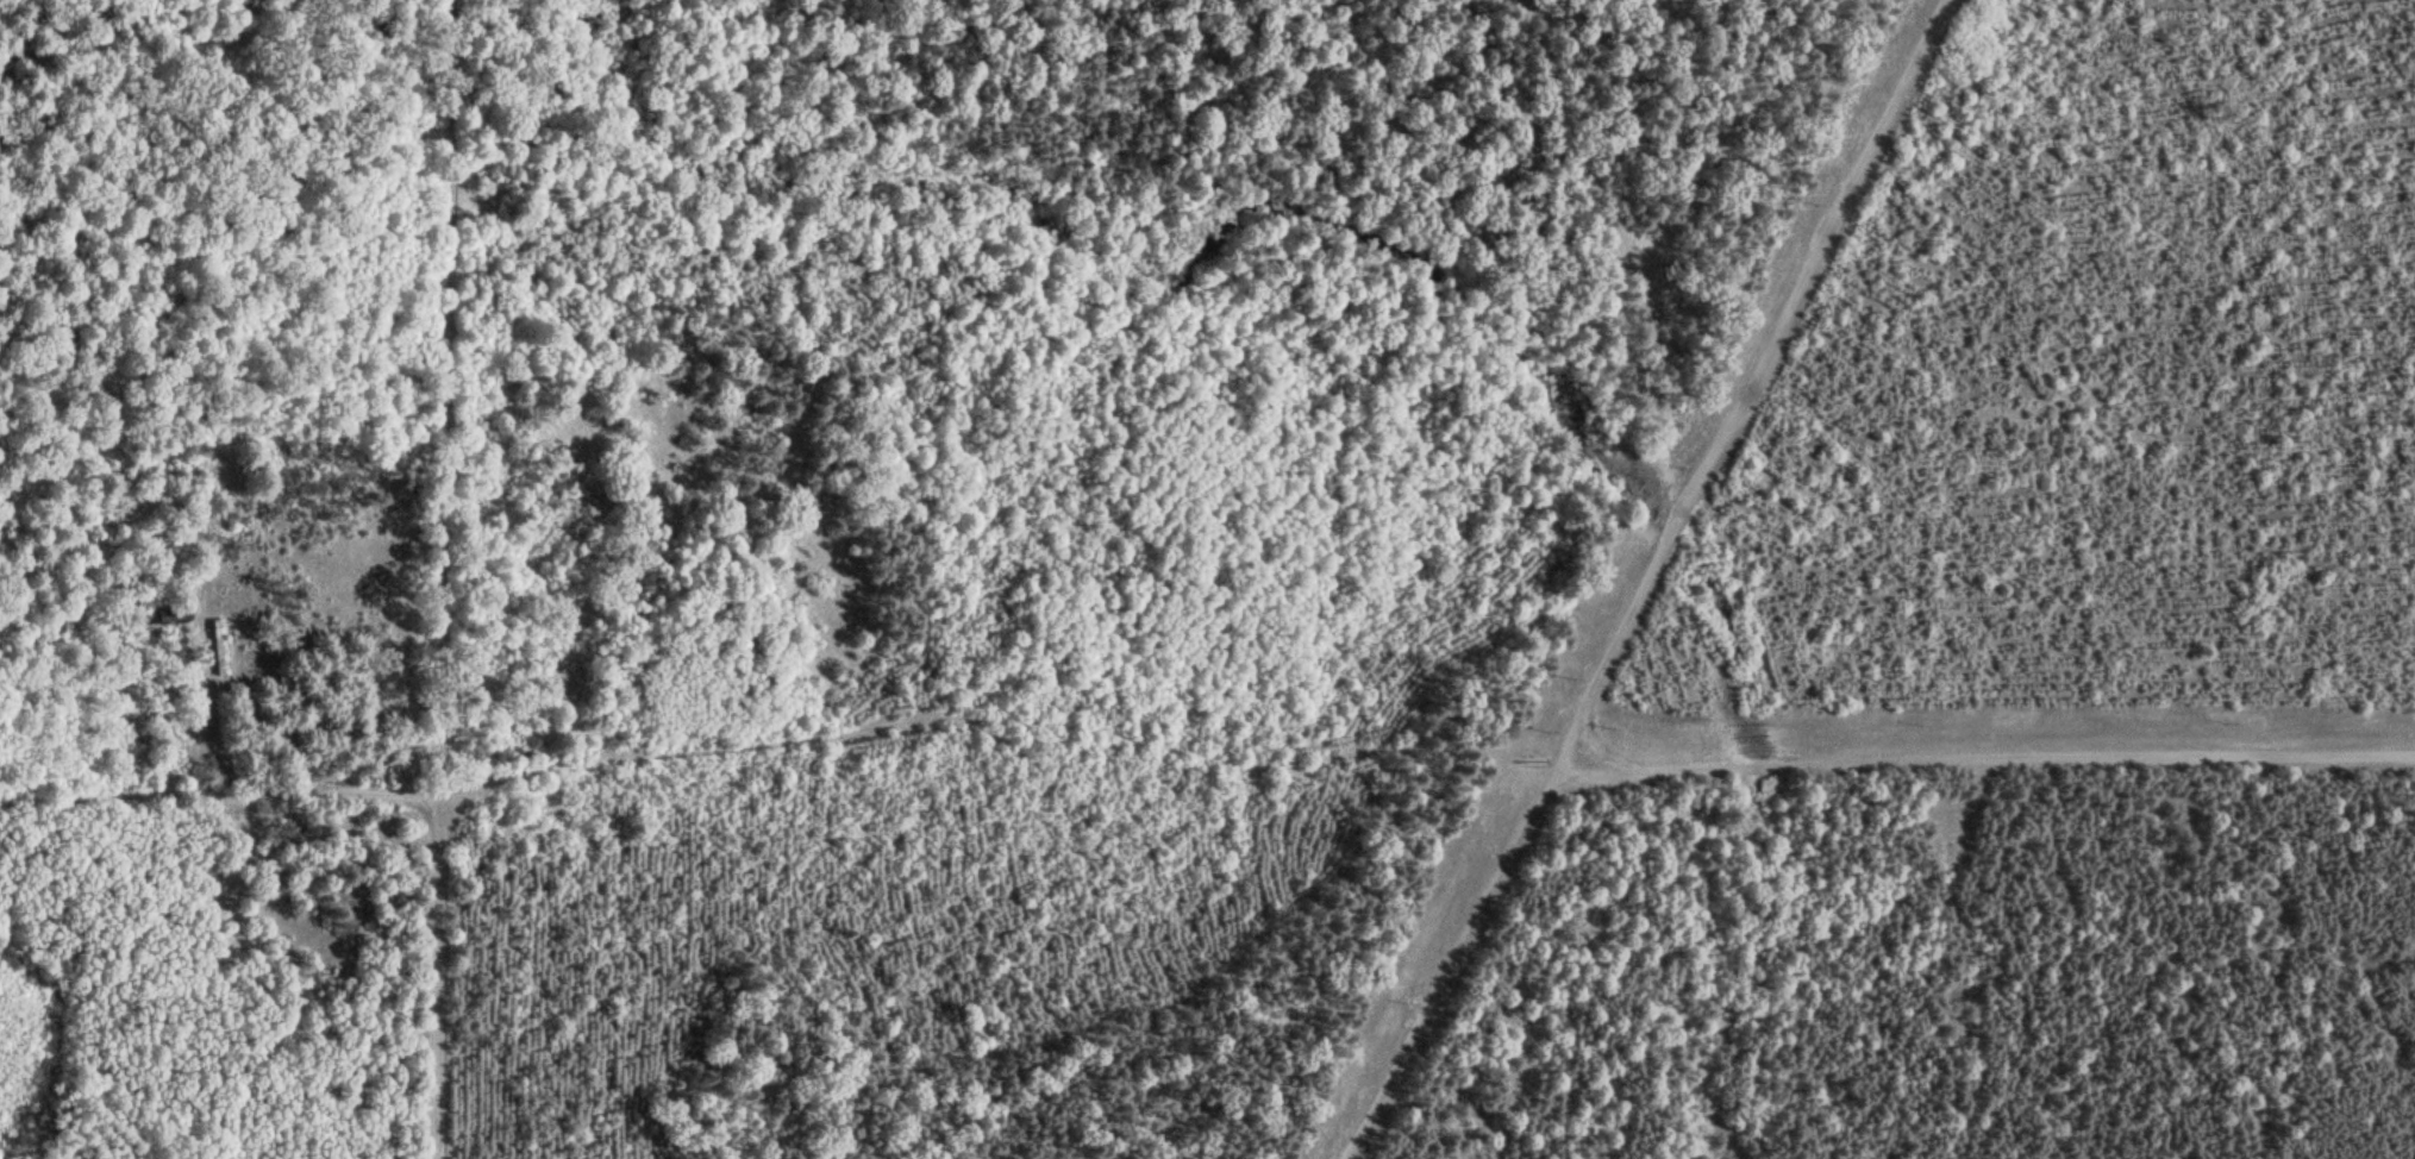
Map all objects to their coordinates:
road: (446, 82)
road: (231, 84)
road: (1703, 328)
road: (1650, 576)
building: (217, 649)
road: (439, 662)
road: (331, 746)
road: (1082, 748)
road: (2198, 753)
road: (1971, 954)

